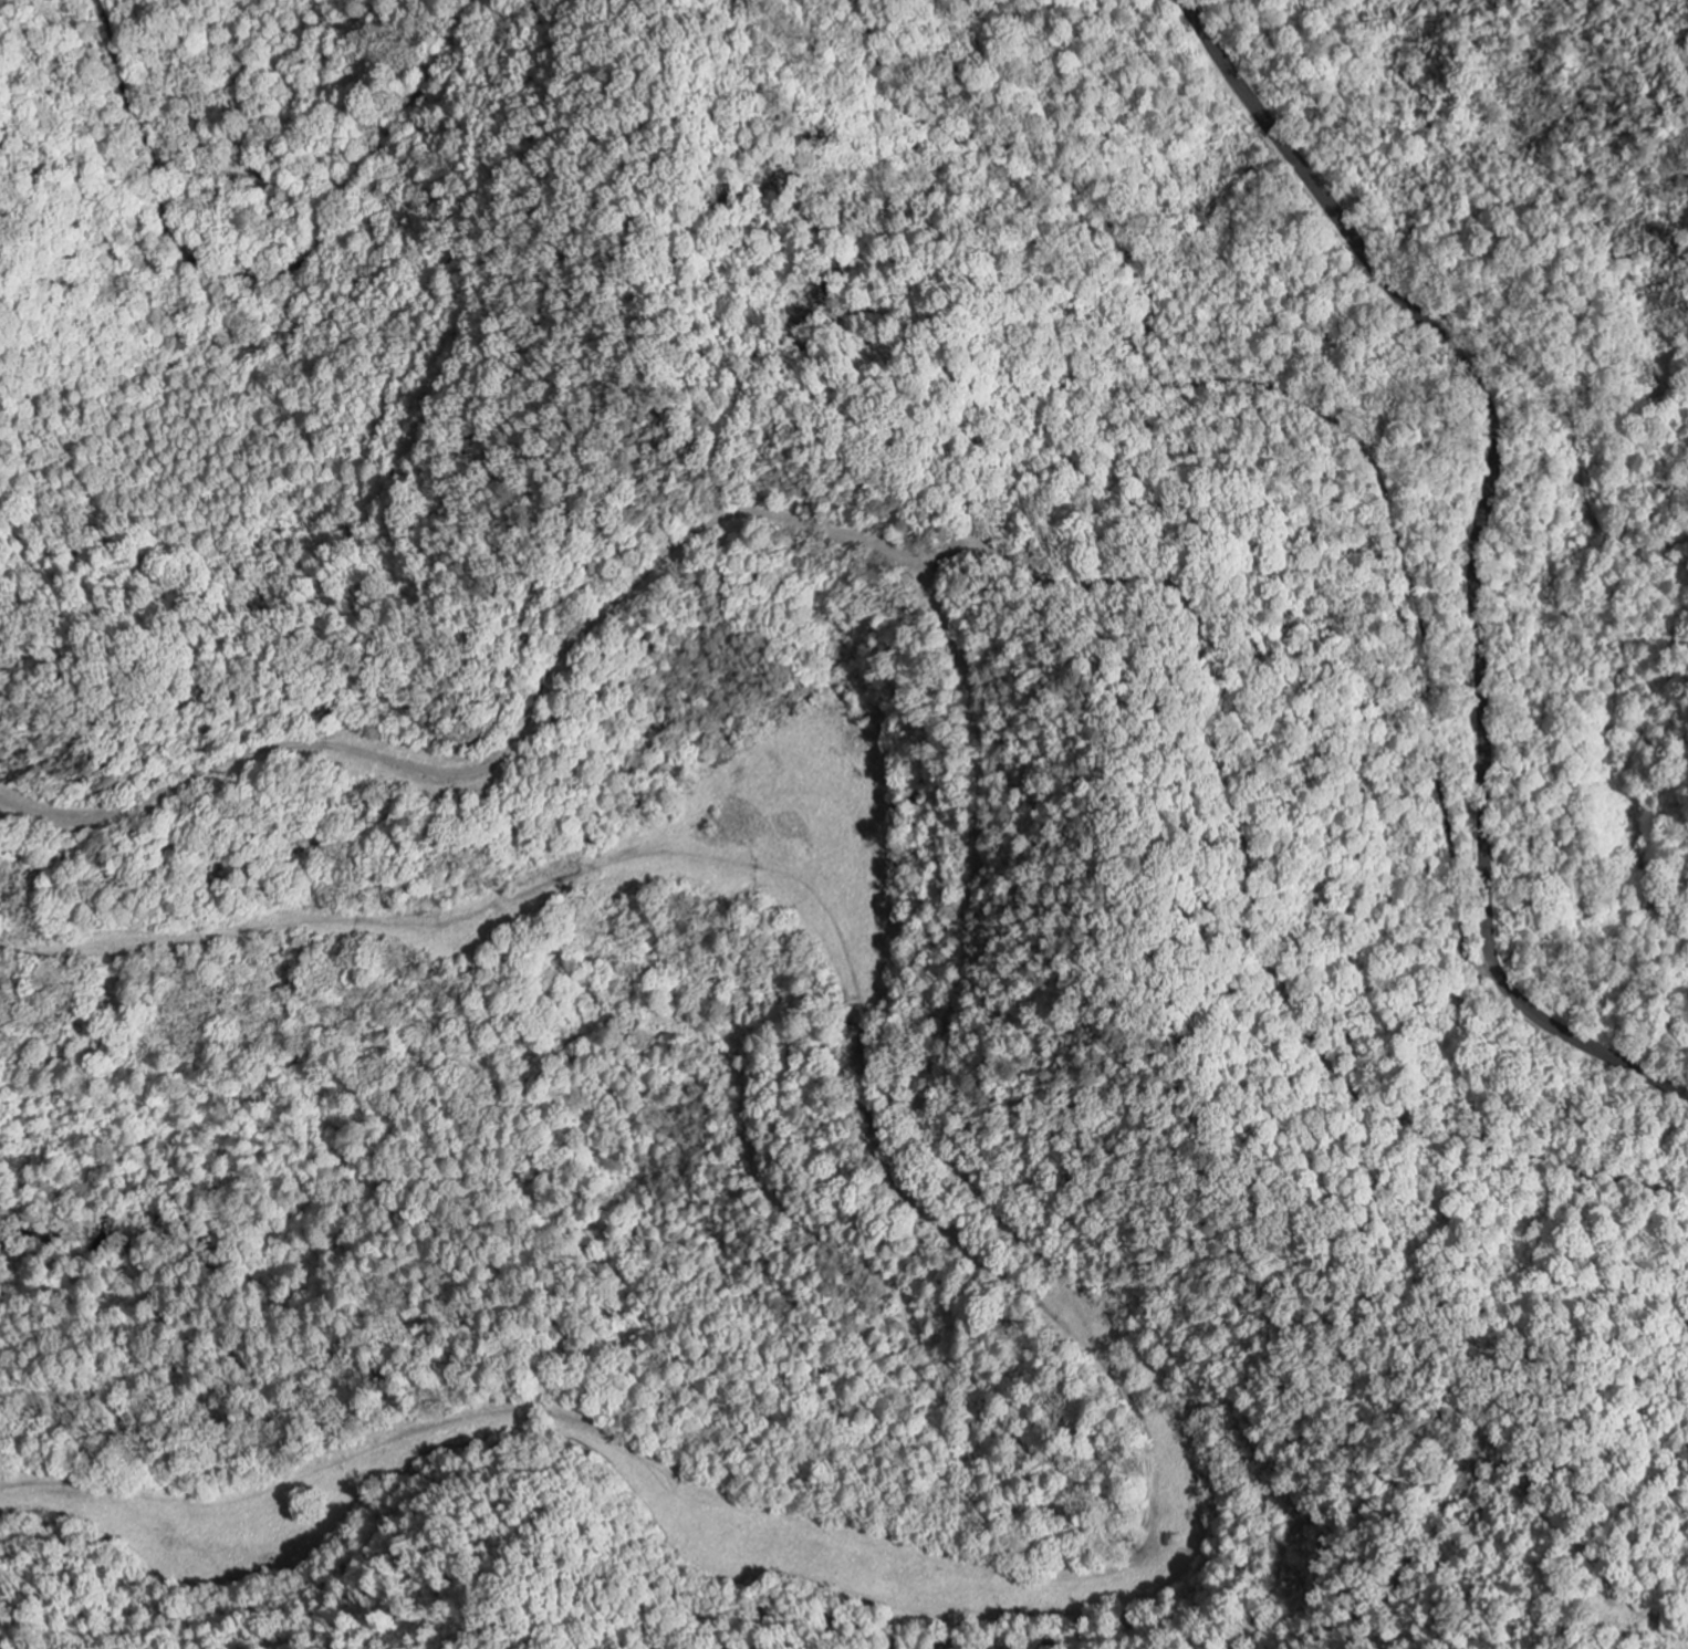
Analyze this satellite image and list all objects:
road: (1473, 550)

